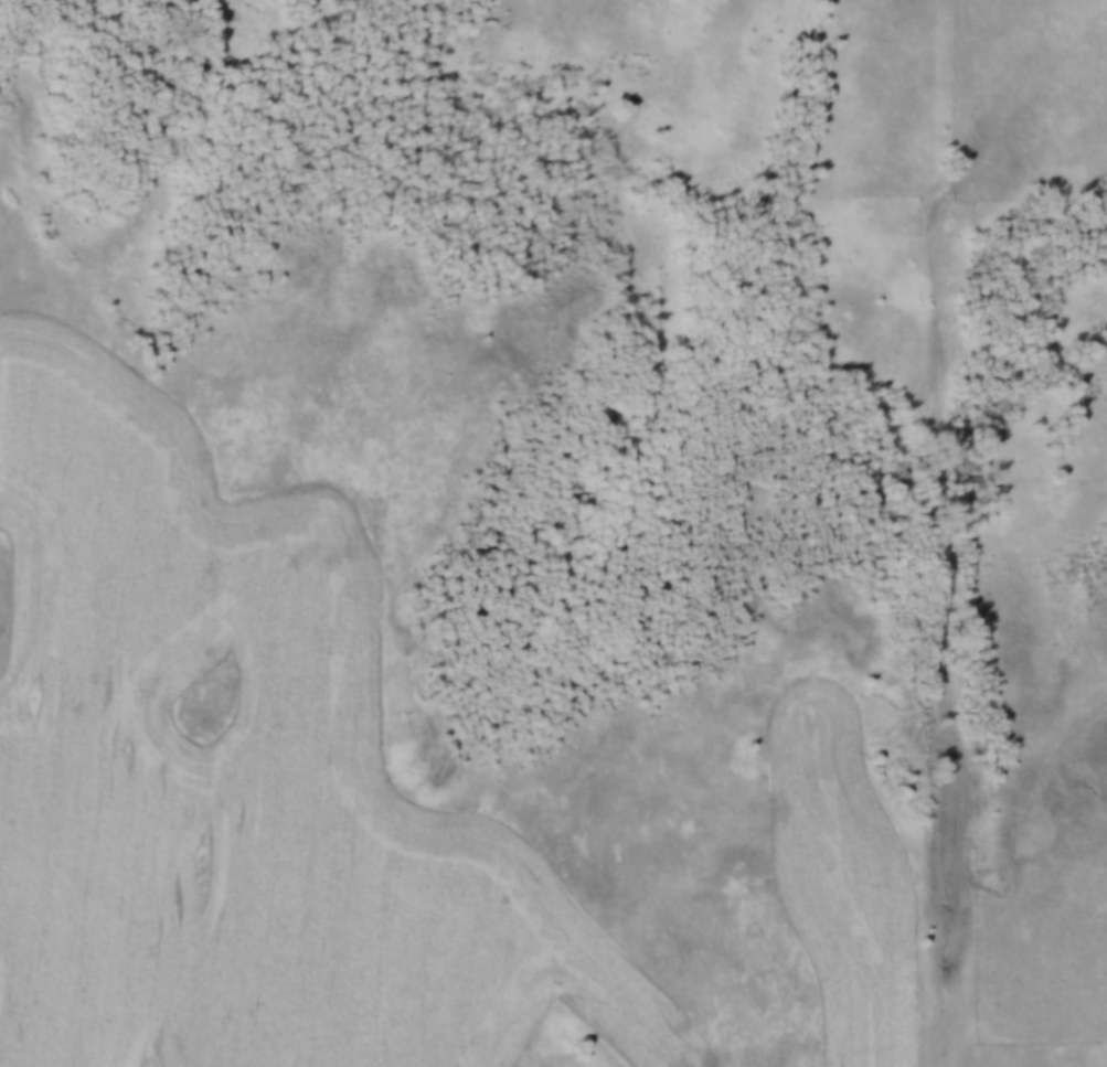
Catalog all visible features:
road: (954, 599)

